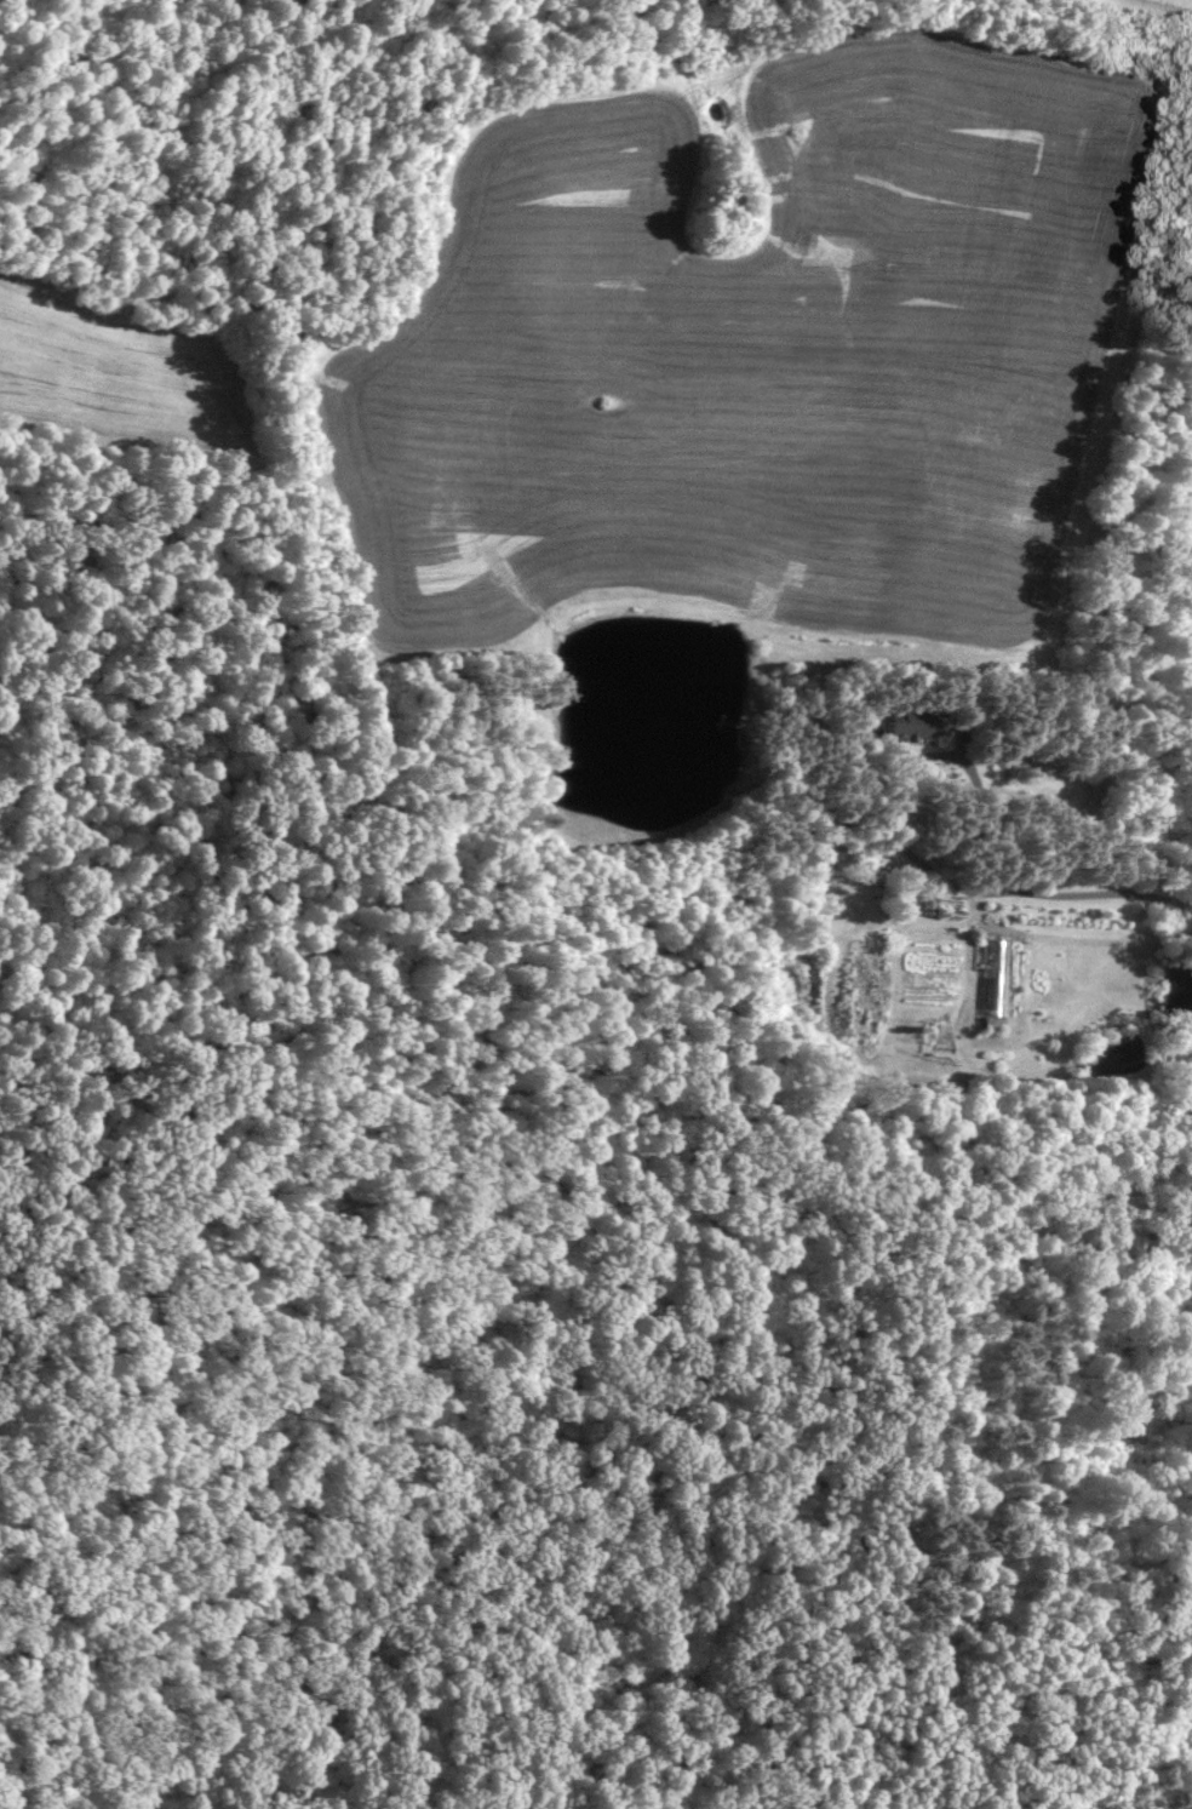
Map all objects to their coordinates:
building: (906, 722)
building: (1093, 788)
building: (858, 981)
building: (986, 984)

